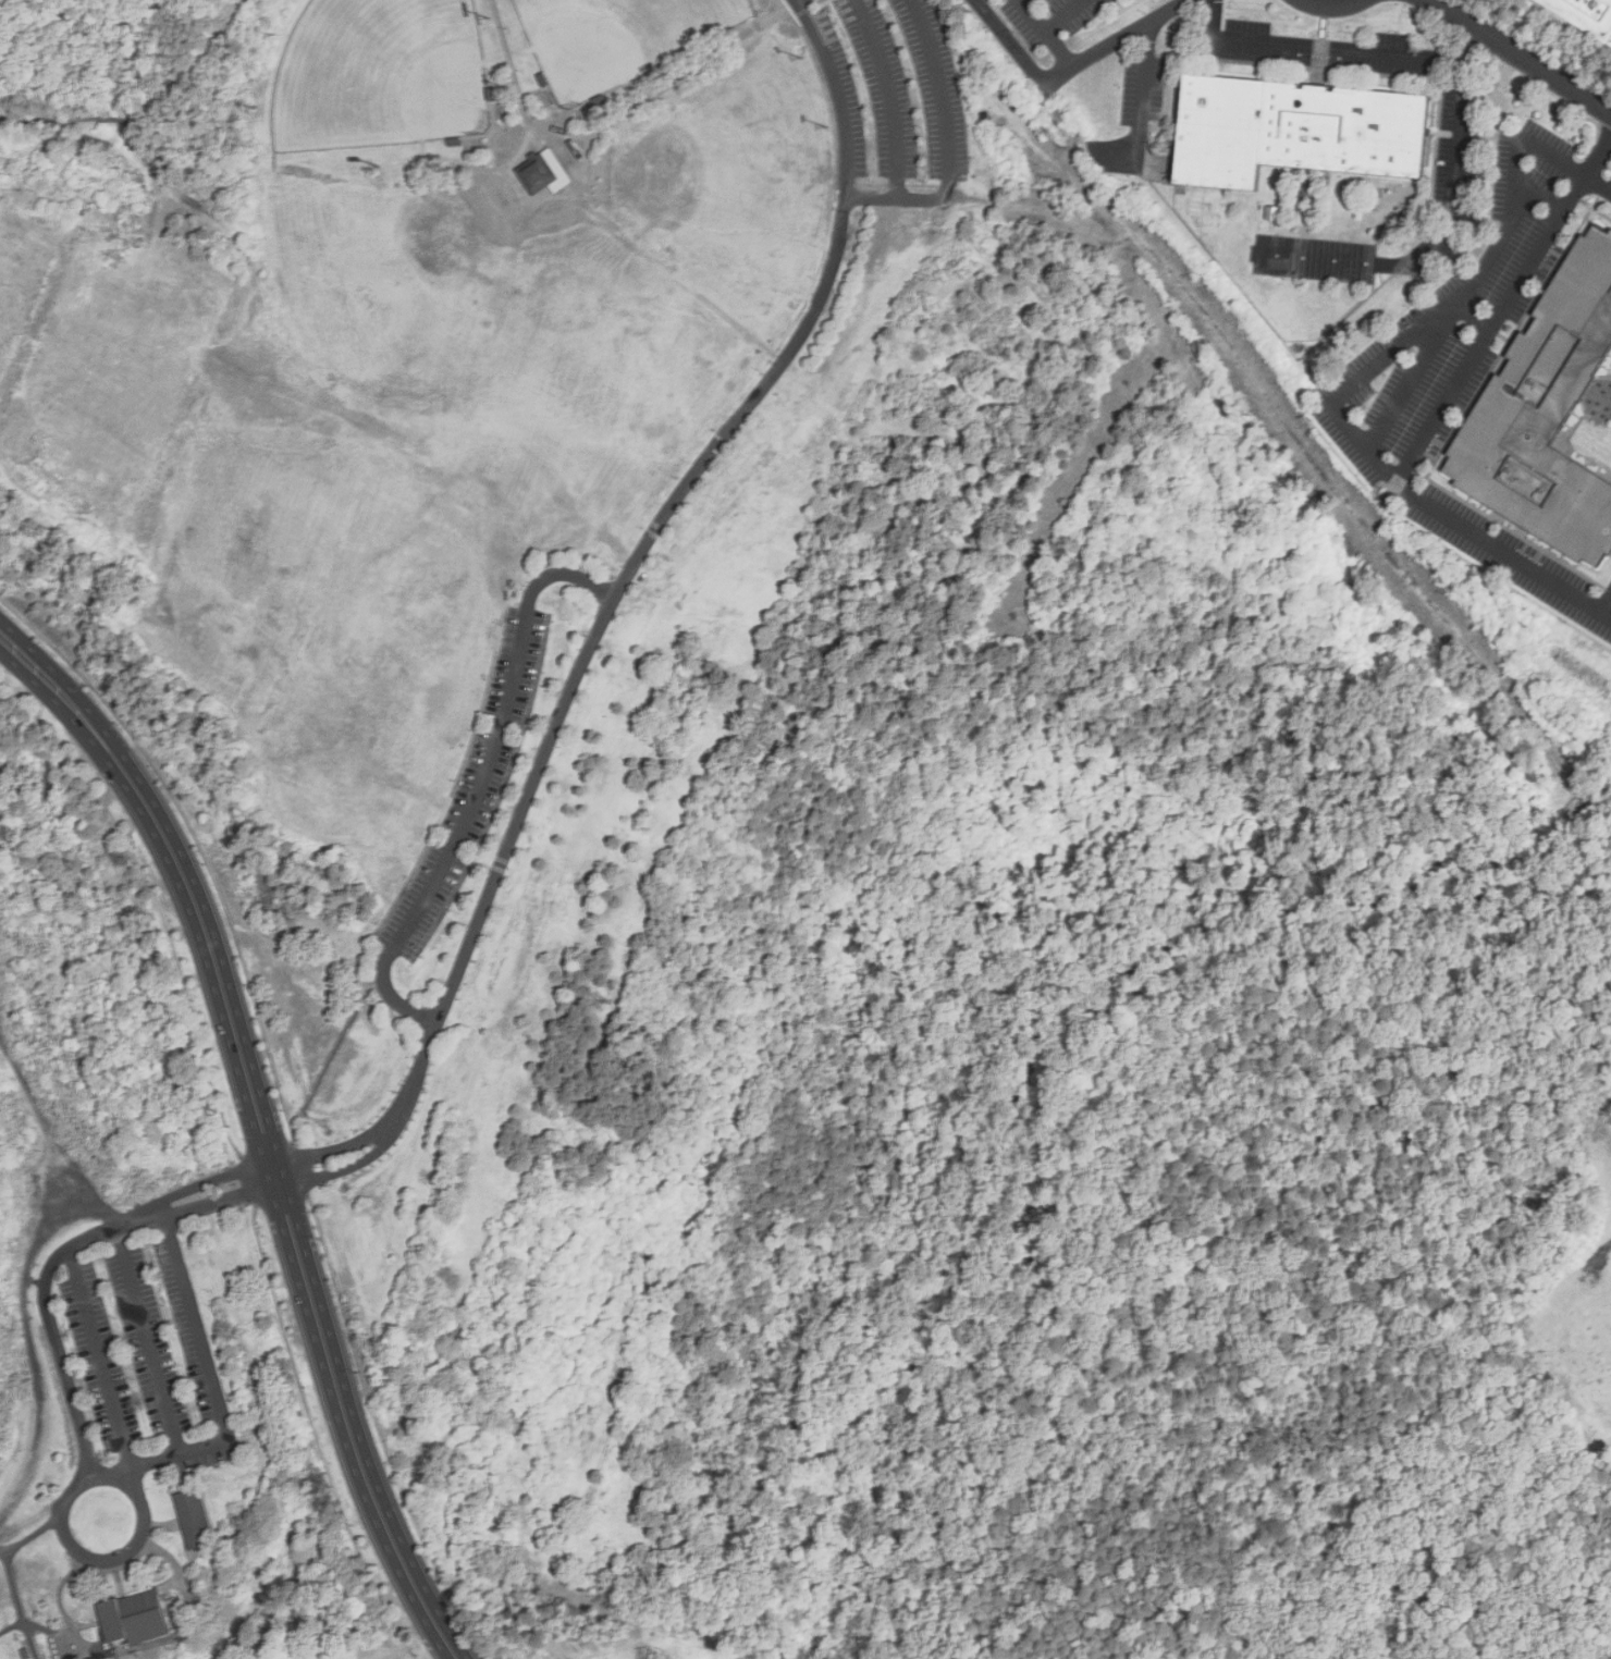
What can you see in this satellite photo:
road: (131, 0)
road: (1332, 2)
building: (1590, 12)
road: (1050, 28)
park: (619, 39)
road: (8, 40)
road: (1058, 50)
road: (1339, 50)
road: (1518, 57)
road: (199, 69)
road: (1067, 71)
park: (380, 74)
park: (883, 86)
road: (665, 89)
road: (841, 90)
road: (1141, 93)
parking lot: (896, 94)
road: (63, 118)
road: (943, 118)
road: (529, 124)
building: (1302, 128)
park: (700, 135)
building: (545, 172)
road: (1459, 172)
road: (875, 193)
park: (741, 196)
road: (194, 201)
road: (450, 201)
road: (567, 201)
road: (664, 208)
road: (618, 236)
road: (1503, 307)
road: (1474, 315)
road: (1131, 331)
road: (1363, 372)
road: (1412, 377)
building: (1546, 411)
road: (1283, 414)
road: (565, 573)
road: (1606, 602)
road: (58, 686)
road: (565, 700)
parking lot: (472, 785)
road: (478, 785)
road: (1584, 824)
park: (810, 832)
road: (1562, 899)
road: (394, 1001)
road: (704, 1004)
road: (1312, 1049)
road: (37, 1135)
road: (285, 1202)
road: (65, 1253)
park: (152, 1268)
park: (1559, 1285)
road: (19, 1324)
road: (149, 1341)
parking lot: (142, 1348)
road: (108, 1355)
road: (206, 1378)
road: (1026, 1420)
building: (193, 1519)
road: (34, 1536)
road: (86, 1552)
road: (21, 1602)
road: (1272, 1602)
building: (132, 1619)
road: (65, 1634)

